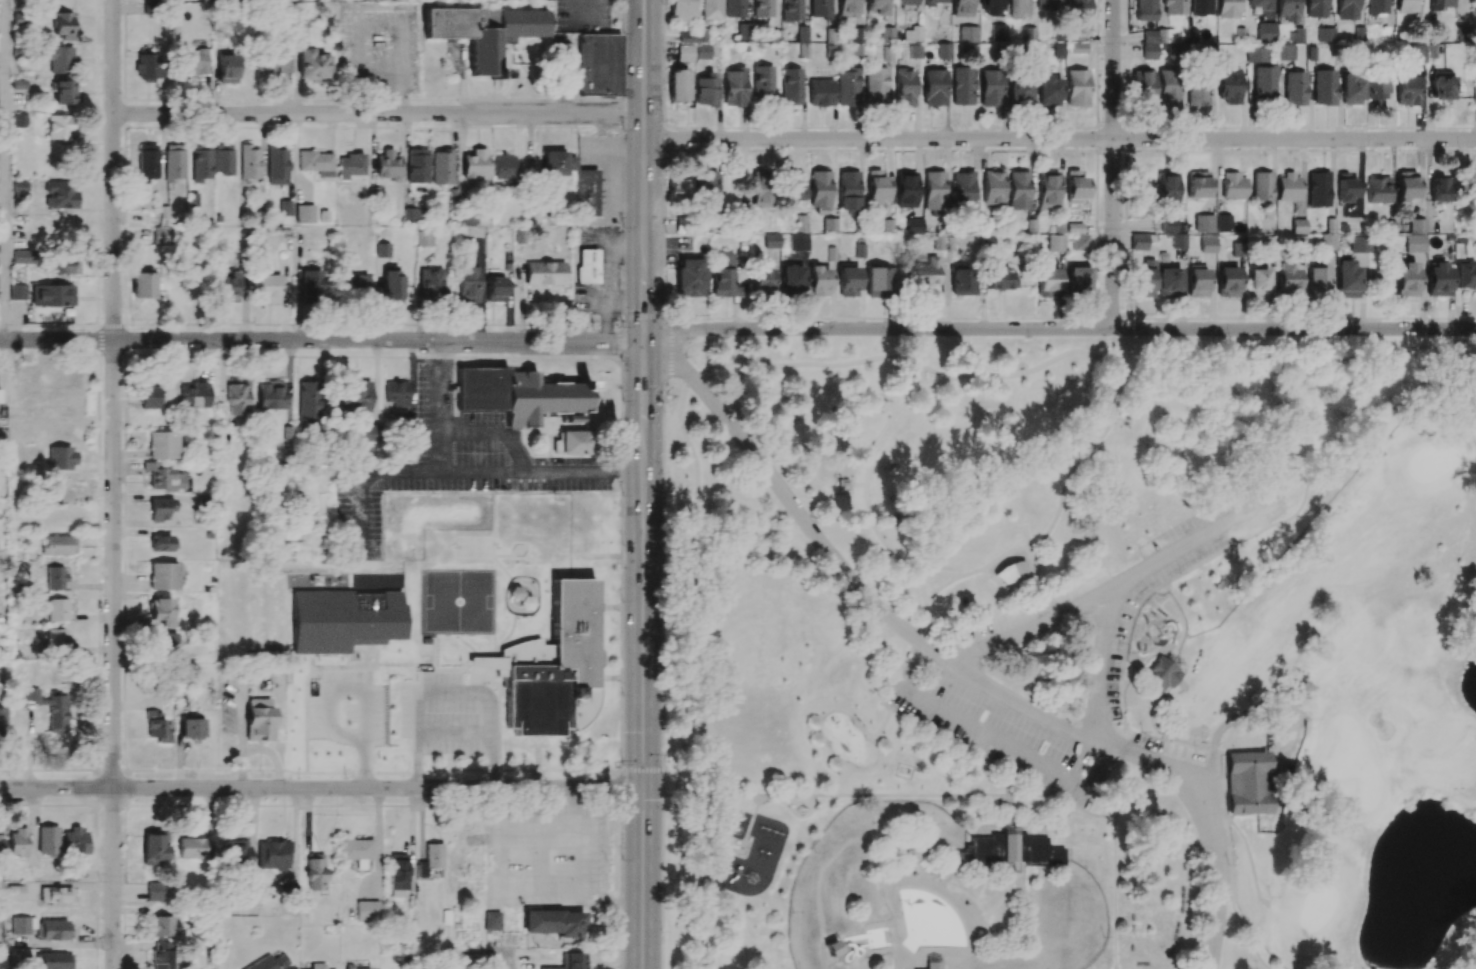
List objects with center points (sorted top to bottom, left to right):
building: (906, 2)
building: (931, 2)
building: (1440, 3)
building: (1259, 4)
building: (1048, 5)
building: (875, 6)
building: (1406, 6)
building: (1174, 7)
building: (1201, 7)
building: (734, 8)
building: (762, 8)
building: (847, 8)
building: (962, 8)
building: (989, 8)
building: (1316, 8)
building: (1377, 8)
building: (711, 9)
building: (819, 9)
building: (1019, 9)
building: (1076, 9)
building: (1227, 9)
building: (1347, 9)
building: (791, 10)
building: (1145, 10)
building: (1287, 10)
building: (681, 11)
building: (303, 19)
building: (61, 25)
building: (1266, 31)
building: (484, 32)
building: (744, 32)
building: (1326, 34)
building: (887, 35)
building: (694, 37)
building: (858, 43)
building: (1149, 45)
building: (1078, 48)
building: (702, 51)
building: (915, 51)
building: (943, 51)
building: (1286, 52)
building: (684, 53)
building: (1417, 54)
building: (1255, 55)
building: (60, 60)
building: (193, 62)
building: (601, 63)
building: (272, 65)
building: (314, 66)
building: (146, 67)
building: (227, 69)
building: (762, 82)
building: (1264, 84)
building: (1442, 85)
building: (677, 86)
building: (790, 86)
building: (876, 86)
building: (962, 86)
building: (1228, 86)
building: (734, 87)
building: (848, 87)
building: (1323, 87)
building: (904, 88)
building: (934, 88)
building: (990, 88)
building: (1076, 88)
building: (1142, 88)
building: (1167, 88)
building: (1294, 89)
building: (705, 90)
building: (1350, 90)
building: (1019, 91)
building: (1047, 91)
building: (1407, 91)
building: (1197, 92)
building: (1375, 92)
building: (62, 93)
building: (820, 93)
building: (1474, 95)
road: (378, 113)
street lamp: (663, 119)
building: (19, 120)
building: (60, 127)
street lamp: (577, 128)
street lamp: (753, 128)
road: (644, 138)
road: (1060, 139)
street lamp: (1460, 147)
building: (223, 159)
building: (201, 162)
building: (249, 162)
building: (316, 162)
building: (146, 163)
building: (557, 163)
building: (475, 164)
road: (1112, 164)
building: (173, 165)
building: (350, 165)
building: (388, 165)
building: (277, 166)
building: (417, 166)
building: (441, 167)
building: (504, 169)
building: (1197, 185)
building: (1406, 185)
building: (1233, 186)
building: (794, 187)
building: (876, 187)
building: (993, 187)
building: (1075, 187)
building: (1261, 187)
building: (1288, 187)
building: (1346, 188)
building: (761, 189)
building: (905, 189)
building: (963, 189)
building: (1047, 189)
building: (1167, 189)
building: (1318, 189)
building: (679, 190)
building: (706, 190)
building: (819, 190)
building: (1018, 190)
building: (1377, 190)
building: (1439, 190)
building: (933, 191)
building: (586, 192)
building: (597, 192)
building: (848, 192)
building: (59, 195)
building: (304, 214)
building: (413, 215)
building: (466, 217)
building: (1204, 223)
building: (1223, 223)
building: (1168, 225)
building: (913, 226)
building: (1298, 226)
building: (1417, 226)
street lamp: (624, 228)
building: (161, 236)
building: (424, 239)
building: (771, 241)
building: (1179, 241)
building: (798, 242)
building: (1079, 242)
building: (1139, 242)
building: (1327, 242)
building: (1055, 243)
building: (1414, 243)
building: (1207, 244)
building: (1360, 244)
road: (6, 250)
building: (382, 250)
building: (23, 257)
building: (60, 264)
building: (588, 266)
building: (928, 270)
building: (544, 273)
building: (1466, 275)
building: (689, 278)
building: (723, 278)
building: (1077, 278)
building: (762, 279)
building: (1316, 279)
building: (1406, 279)
building: (1000, 280)
building: (1143, 280)
building: (1286, 280)
building: (1347, 280)
building: (1438, 280)
building: (792, 281)
building: (819, 281)
building: (848, 281)
building: (1196, 281)
building: (877, 282)
building: (962, 282)
building: (1227, 282)
building: (1258, 282)
building: (142, 283)
building: (1047, 283)
building: (1168, 283)
building: (354, 284)
building: (468, 284)
building: (431, 285)
building: (228, 286)
building: (311, 286)
building: (392, 286)
building: (267, 288)
building: (495, 289)
building: (42, 295)
road: (644, 307)
traffic signals: (644, 309)
street lamp: (662, 310)
road: (632, 316)
street lamp: (1130, 320)
street lamp: (623, 327)
street lamp: (134, 328)
street lamp: (457, 328)
road: (1059, 328)
street lamp: (214, 329)
street lamp: (376, 329)
street lamp: (576, 330)
traffic signals: (677, 330)
street lamp: (708, 334)
street lamp: (808, 335)
street lamp: (917, 336)
street lamp: (1028, 336)
street lamp: (1228, 336)
street lamp: (1337, 336)
street lamp: (1443, 339)
road: (322, 340)
traffic signals: (614, 342)
road: (671, 356)
street lamp: (687, 356)
traffic signals: (677, 364)
street lamp: (458, 367)
road: (922, 376)
road: (941, 381)
road: (643, 383)
traffic signals: (643, 385)
building: (396, 393)
building: (193, 395)
building: (520, 395)
building: (148, 396)
building: (271, 396)
building: (237, 397)
building: (354, 398)
building: (309, 399)
street lamp: (623, 401)
road: (443, 405)
road: (1379, 425)
road: (495, 430)
building: (368, 433)
building: (573, 443)
building: (162, 445)
building: (61, 458)
street lamp: (360, 458)
park: (1434, 461)
street lamp: (416, 462)
road: (459, 470)
street lamp: (662, 473)
building: (163, 477)
street lamp: (617, 481)
road: (112, 484)
building: (63, 485)
street lamp: (432, 491)
street lamp: (546, 492)
street lamp: (580, 492)
street lamp: (1244, 497)
building: (1034, 501)
road: (791, 504)
building: (160, 509)
street lamp: (811, 515)
street lamp: (385, 516)
road: (1197, 539)
building: (161, 543)
building: (57, 545)
street lamp: (623, 545)
road: (703, 545)
street lamp: (357, 558)
parking lot: (1179, 567)
road: (1029, 569)
road: (663, 573)
road: (1175, 576)
building: (163, 577)
building: (55, 578)
road: (921, 583)
street lamp: (1085, 586)
park: (456, 600)
building: (57, 610)
building: (160, 611)
parking lot: (1032, 613)
road: (1178, 613)
street lamp: (665, 616)
street lamp: (1010, 622)
road: (1033, 629)
park: (967, 633)
building: (56, 638)
building: (164, 642)
street lamp: (1130, 649)
road: (1100, 662)
road: (1144, 663)
street lamp: (981, 665)
road: (914, 666)
building: (552, 667)
building: (1158, 678)
park: (1207, 684)
road: (358, 691)
road: (440, 692)
street lamp: (623, 695)
street lamp: (1031, 697)
road: (642, 699)
road: (884, 699)
road: (1122, 699)
road: (1020, 704)
park: (1340, 706)
building: (50, 708)
road: (851, 717)
building: (258, 720)
building: (2, 722)
road: (883, 723)
building: (156, 725)
building: (191, 728)
parking lot: (999, 729)
road: (445, 732)
traffic signals: (642, 732)
road: (491, 736)
road: (997, 737)
road: (397, 739)
street lamp: (1199, 741)
road: (1214, 741)
park: (1352, 760)
road: (1016, 762)
road: (1102, 766)
road: (640, 768)
parking lot: (1182, 768)
street lamp: (263, 775)
street lamp: (384, 775)
street lamp: (455, 775)
street lamp: (661, 776)
road: (843, 779)
road: (662, 781)
road: (1030, 783)
road: (1215, 784)
building: (1243, 784)
road: (321, 787)
road: (1278, 787)
building: (1471, 788)
road: (1146, 789)
road: (857, 795)
street lamp: (130, 798)
road: (1010, 798)
street lamp: (555, 799)
traffic signals: (642, 800)
street lamp: (1140, 801)
road: (545, 806)
street lamp: (872, 822)
road: (969, 822)
road: (750, 823)
street lamp: (934, 823)
road: (987, 823)
road: (1208, 824)
road: (533, 825)
road: (1010, 828)
building: (1011, 830)
building: (47, 840)
building: (74, 841)
building: (17, 843)
building: (1, 845)
building: (191, 848)
building: (154, 849)
road: (839, 849)
road: (958, 850)
building: (1012, 850)
building: (357, 851)
building: (235, 852)
street lamp: (814, 852)
building: (433, 854)
building: (273, 855)
road: (1114, 857)
street lamp: (623, 858)
road: (961, 858)
building: (960, 859)
road: (1250, 860)
road: (892, 862)
road: (953, 865)
building: (1010, 866)
building: (398, 871)
building: (315, 872)
street lamp: (928, 873)
street lamp: (1087, 878)
road: (662, 881)
road: (915, 882)
road: (941, 884)
road: (893, 891)
building: (153, 892)
building: (17, 893)
building: (56, 895)
road: (1231, 899)
road: (888, 901)
road: (996, 905)
park: (1319, 906)
building: (367, 911)
street lamp: (793, 911)
street lamp: (1208, 911)
road: (897, 913)
road: (964, 915)
building: (491, 921)
building: (553, 923)
road: (1025, 923)
building: (23, 925)
building: (161, 926)
road: (891, 927)
building: (51, 930)
street lamp: (661, 932)
street lamp: (1101, 936)
road: (897, 938)
building: (831, 947)
road: (898, 947)
road: (904, 949)
road: (953, 951)
road: (487, 952)
building: (161, 955)
road: (934, 956)
road: (917, 957)
building: (1, 958)
building: (934, 958)
building: (53, 960)
road: (899, 960)
building: (570, 961)
road: (830, 961)
road: (1466, 961)
street lamp: (974, 962)
building: (269, 963)
road: (913, 965)
building: (936, 965)
building: (318, 966)
building: (357, 968)
building: (725, 968)

